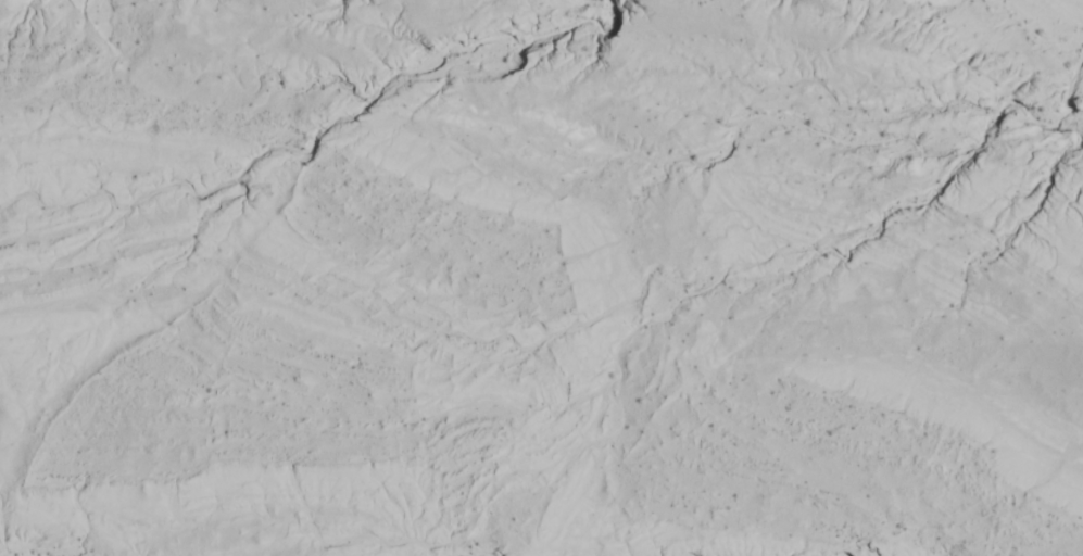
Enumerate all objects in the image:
road: (1082, 0)

